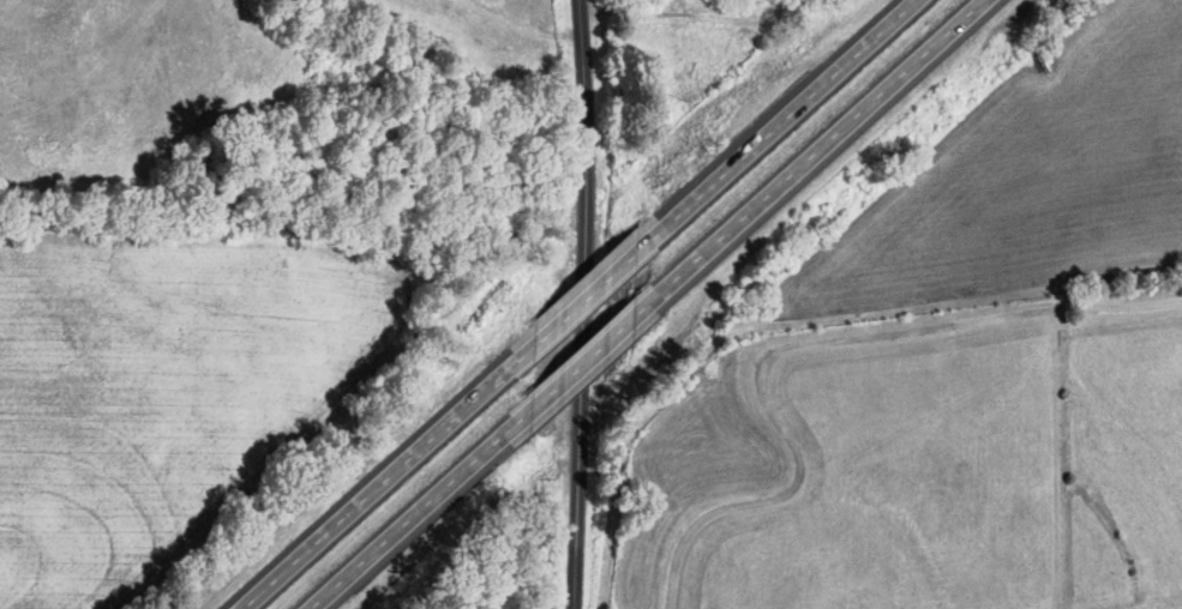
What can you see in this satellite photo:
road: (775, 122)
road: (809, 151)
road: (578, 299)
road: (588, 304)
road: (580, 358)
road: (365, 405)
road: (374, 481)
road: (410, 511)

